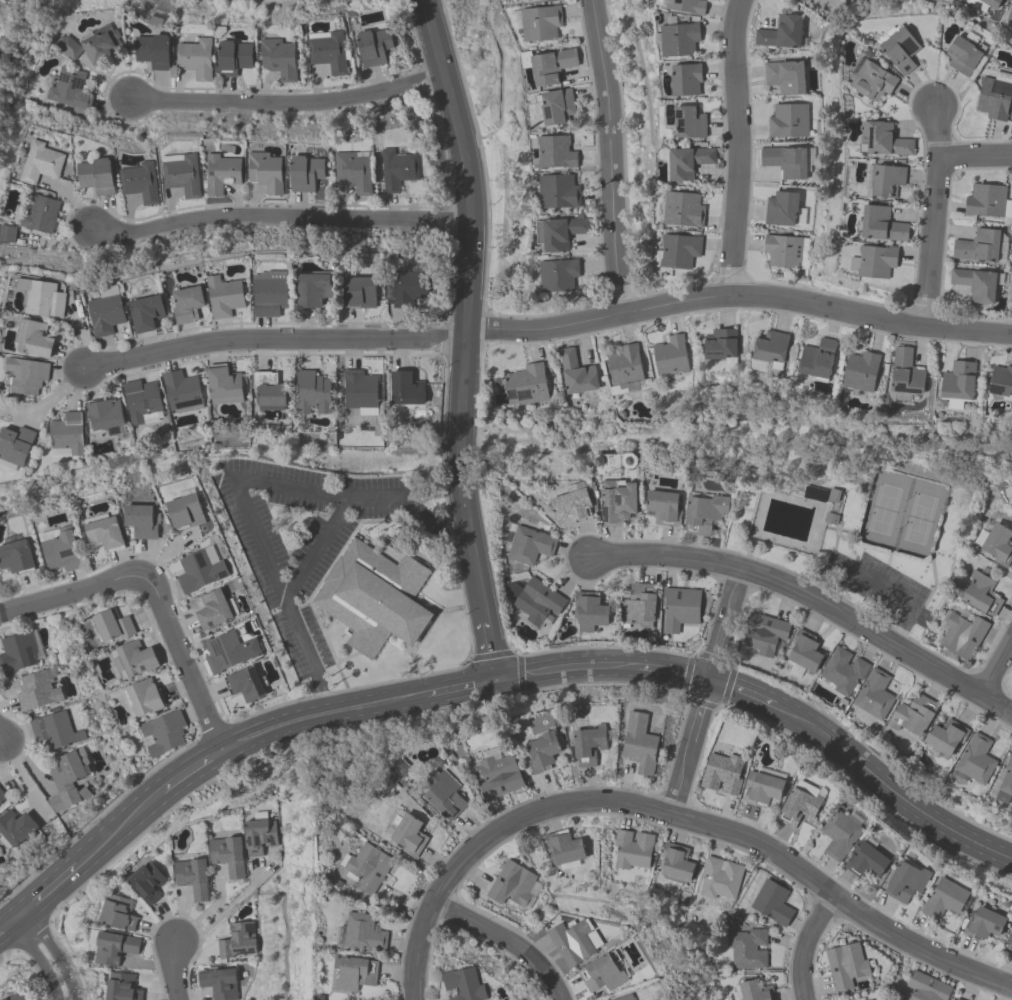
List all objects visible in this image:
building: (800, 0)
building: (983, 4)
building: (686, 6)
building: (353, 13)
building: (1009, 14)
building: (538, 22)
building: (780, 32)
building: (677, 38)
building: (102, 44)
building: (374, 46)
building: (898, 47)
building: (69, 48)
building: (153, 51)
building: (330, 52)
building: (964, 53)
building: (233, 57)
building: (196, 58)
building: (279, 58)
building: (552, 66)
building: (785, 77)
building: (686, 79)
building: (873, 81)
building: (69, 89)
building: (994, 95)
road: (289, 102)
building: (556, 106)
building: (788, 121)
building: (689, 122)
building: (882, 139)
road: (732, 148)
building: (556, 151)
road: (973, 154)
road: (612, 156)
building: (685, 161)
building: (785, 161)
building: (41, 163)
building: (399, 169)
building: (266, 172)
building: (354, 172)
building: (222, 173)
building: (306, 173)
building: (182, 174)
building: (95, 175)
building: (887, 180)
building: (140, 182)
building: (558, 191)
building: (988, 202)
building: (781, 208)
building: (683, 209)
building: (40, 214)
road: (282, 217)
road: (931, 218)
building: (882, 225)
building: (559, 232)
building: (7, 233)
building: (978, 246)
building: (679, 250)
building: (783, 251)
building: (877, 261)
building: (558, 275)
building: (975, 284)
building: (406, 288)
building: (313, 289)
building: (360, 292)
building: (270, 293)
building: (224, 297)
building: (42, 298)
building: (187, 304)
road: (468, 307)
building: (106, 311)
building: (146, 313)
road: (548, 322)
building: (33, 339)
building: (721, 346)
building: (771, 348)
building: (670, 355)
building: (817, 358)
building: (625, 370)
building: (860, 371)
building: (576, 374)
building: (26, 375)
building: (905, 377)
building: (1001, 382)
building: (958, 384)
building: (223, 385)
building: (525, 385)
building: (181, 390)
building: (268, 391)
building: (360, 391)
building: (405, 391)
building: (312, 392)
building: (142, 401)
building: (104, 415)
building: (67, 433)
building: (14, 447)
road: (237, 487)
building: (617, 501)
building: (571, 506)
building: (663, 508)
building: (186, 513)
building: (704, 513)
building: (141, 521)
building: (105, 534)
road: (320, 544)
building: (530, 545)
building: (998, 545)
building: (61, 550)
building: (16, 557)
building: (199, 571)
road: (874, 581)
building: (981, 594)
building: (373, 598)
road: (73, 600)
building: (538, 601)
road: (809, 604)
building: (638, 606)
building: (679, 608)
building: (213, 610)
building: (588, 611)
building: (112, 627)
building: (763, 633)
building: (961, 633)
road: (494, 649)
building: (229, 651)
building: (805, 652)
building: (16, 653)
building: (135, 660)
road: (997, 664)
road: (184, 666)
road: (570, 667)
building: (843, 671)
road: (674, 673)
traffic signals: (707, 680)
traffic signals: (501, 681)
building: (246, 684)
road: (463, 687)
building: (36, 691)
road: (741, 691)
road: (703, 692)
building: (874, 694)
building: (144, 697)
road: (374, 702)
building: (914, 715)
road: (270, 724)
building: (55, 730)
building: (164, 732)
building: (947, 737)
building: (588, 745)
building: (640, 751)
building: (542, 752)
building: (976, 759)
road: (189, 766)
building: (722, 773)
building: (497, 777)
building: (67, 780)
building: (1005, 783)
building: (761, 789)
road: (889, 789)
building: (2, 796)
building: (444, 797)
building: (800, 803)
road: (673, 815)
road: (118, 824)
building: (14, 828)
building: (259, 833)
building: (407, 834)
building: (839, 834)
building: (632, 849)
building: (563, 850)
building: (228, 855)
building: (866, 861)
building: (676, 863)
building: (366, 868)
building: (193, 878)
building: (719, 878)
building: (147, 882)
building: (906, 882)
building: (511, 884)
road: (47, 892)
building: (945, 899)
building: (772, 903)
building: (118, 913)
road: (221, 913)
building: (984, 925)
road: (8, 927)
building: (363, 933)
building: (237, 940)
road: (505, 940)
building: (574, 941)
road: (805, 943)
building: (1009, 944)
building: (114, 948)
building: (746, 948)
road: (46, 957)
building: (846, 965)
road: (174, 971)
building: (354, 973)
building: (602, 973)
building: (219, 983)
building: (463, 985)
building: (122, 987)
building: (926, 987)
building: (752, 991)
building: (16, 996)
building: (625, 998)
building: (871, 999)
building: (955, 999)

